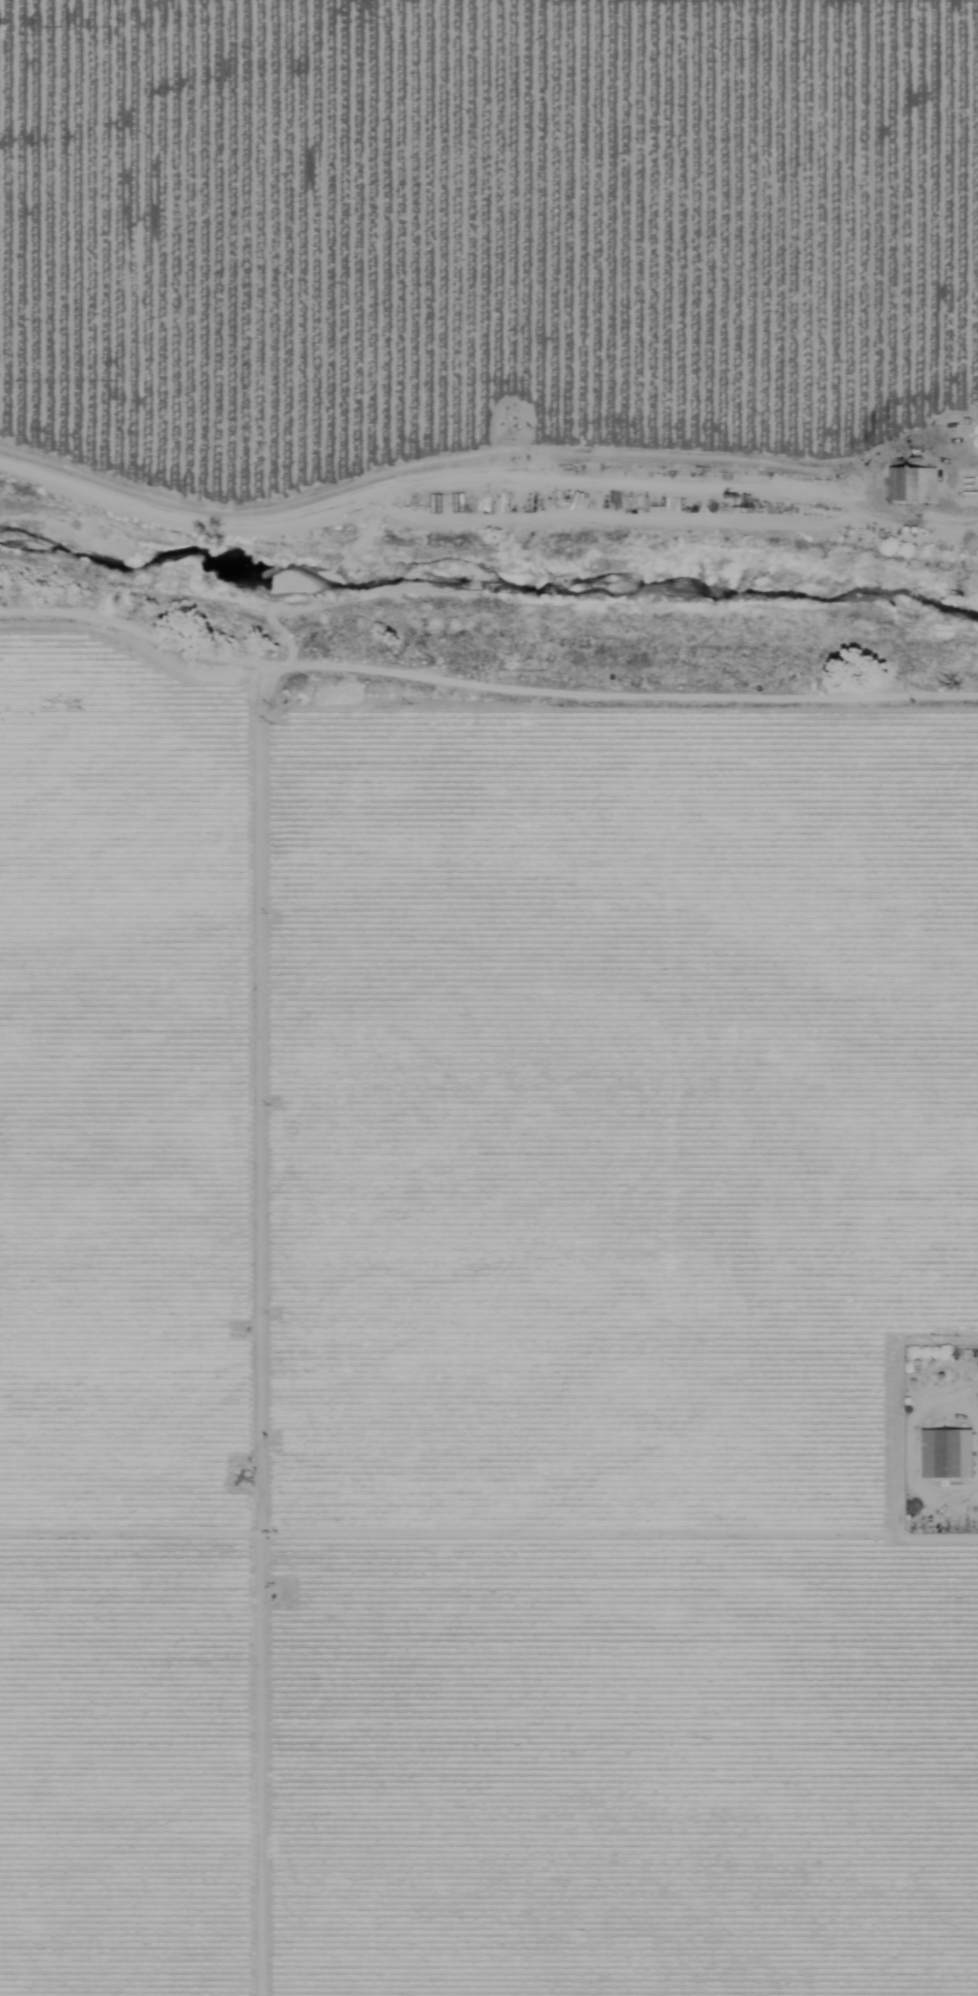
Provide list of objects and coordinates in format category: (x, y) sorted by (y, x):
crop: (485, 236)
road: (938, 438)
river: (485, 582)
road: (956, 1402)
building: (940, 1455)

